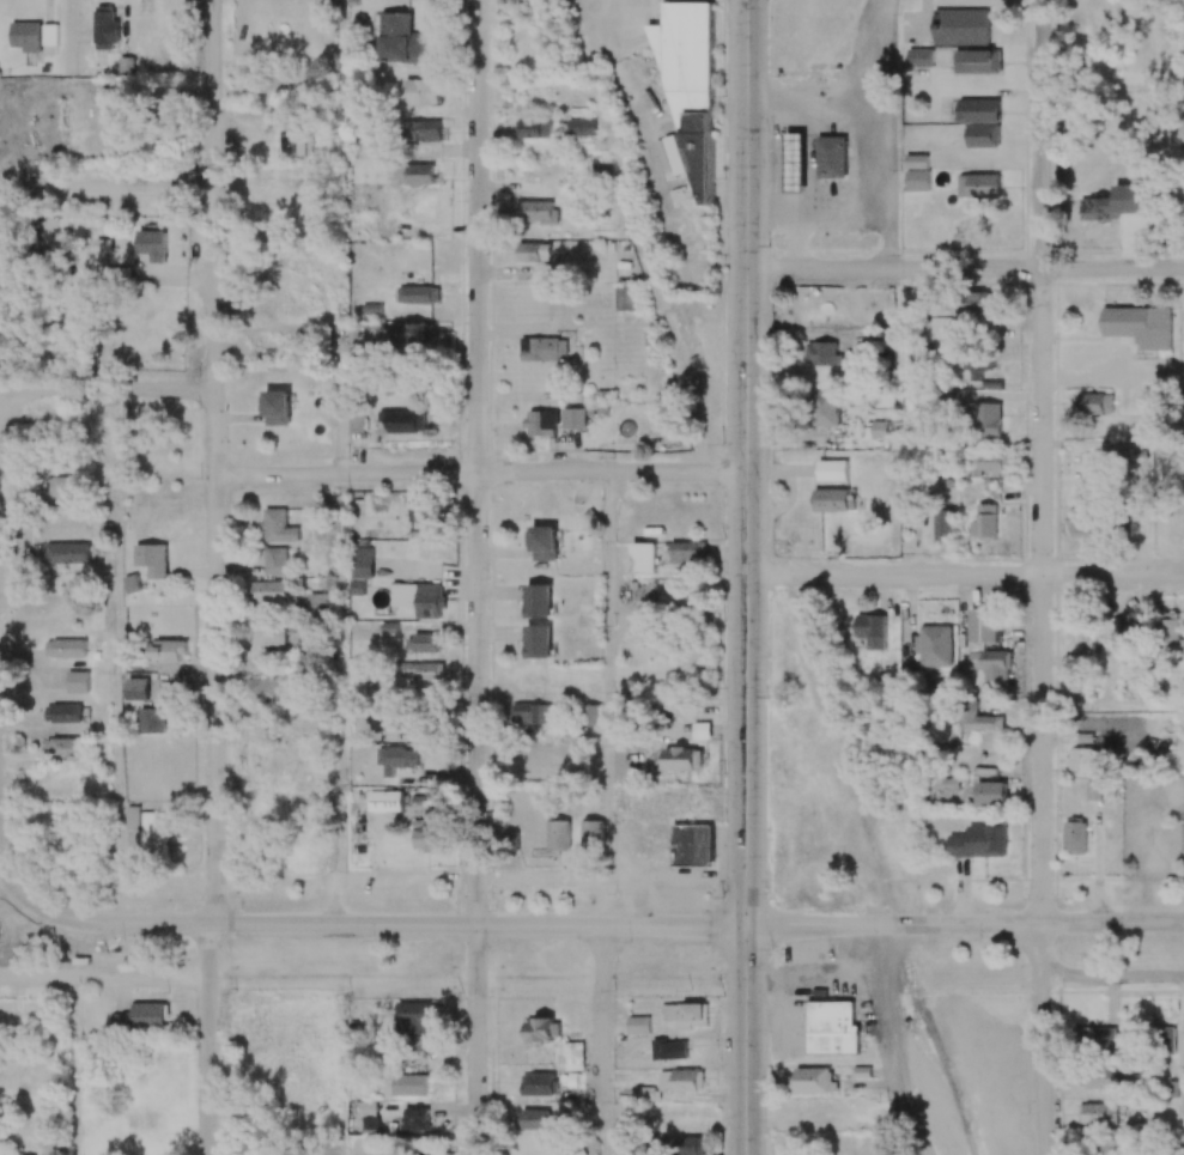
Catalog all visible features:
building: (105, 26)
building: (961, 26)
building: (49, 34)
building: (26, 36)
building: (401, 38)
road: (872, 55)
building: (924, 56)
building: (978, 61)
building: (126, 67)
building: (423, 91)
building: (169, 93)
road: (870, 121)
building: (982, 121)
building: (111, 127)
building: (534, 127)
building: (582, 127)
building: (424, 130)
building: (297, 141)
road: (781, 144)
building: (832, 157)
building: (917, 160)
building: (796, 162)
building: (421, 175)
building: (918, 180)
building: (979, 184)
road: (108, 187)
building: (1115, 203)
building: (535, 212)
road: (844, 218)
road: (771, 224)
building: (152, 242)
building: (532, 251)
building: (104, 257)
road: (965, 268)
building: (419, 294)
building: (625, 297)
building: (827, 302)
building: (977, 304)
building: (372, 308)
building: (1140, 326)
building: (412, 333)
building: (544, 348)
building: (822, 353)
building: (978, 366)
road: (108, 388)
building: (1095, 403)
building: (278, 407)
building: (826, 408)
building: (573, 418)
building: (988, 419)
building: (405, 420)
building: (357, 421)
building: (541, 423)
building: (878, 428)
road: (215, 461)
road: (1042, 461)
road: (478, 462)
building: (989, 462)
building: (832, 470)
road: (480, 473)
building: (1091, 481)
building: (62, 486)
road: (17, 501)
building: (421, 510)
building: (1081, 516)
building: (945, 522)
building: (984, 522)
building: (277, 527)
building: (542, 542)
building: (67, 553)
building: (687, 553)
building: (644, 557)
building: (152, 559)
building: (275, 560)
building: (362, 563)
road: (965, 575)
road: (747, 577)
building: (357, 588)
building: (271, 591)
building: (643, 591)
building: (418, 598)
building: (539, 600)
building: (322, 603)
building: (1136, 621)
building: (870, 630)
building: (1171, 630)
building: (268, 633)
building: (539, 640)
building: (420, 643)
building: (935, 645)
building: (977, 645)
building: (67, 648)
building: (168, 650)
road: (120, 656)
building: (421, 670)
building: (78, 682)
building: (136, 688)
building: (260, 689)
road: (607, 699)
building: (63, 713)
building: (533, 713)
building: (593, 715)
building: (980, 719)
building: (152, 721)
building: (388, 721)
building: (702, 730)
building: (67, 747)
building: (395, 759)
building: (682, 759)
building: (1082, 759)
building: (1094, 790)
building: (991, 792)
building: (132, 816)
building: (431, 831)
building: (153, 832)
building: (558, 834)
building: (593, 834)
building: (1075, 835)
building: (1183, 838)
building: (979, 841)
building: (693, 845)
road: (576, 925)
road: (954, 974)
road: (1113, 974)
road: (104, 975)
road: (807, 975)
road: (478, 977)
building: (685, 1015)
building: (417, 1016)
building: (141, 1017)
building: (638, 1025)
building: (832, 1028)
building: (544, 1029)
road: (208, 1038)
building: (1095, 1038)
road: (1043, 1039)
road: (476, 1040)
road: (606, 1040)
building: (1167, 1040)
road: (885, 1042)
building: (670, 1050)
building: (573, 1056)
road: (74, 1065)
building: (1103, 1078)
building: (813, 1080)
building: (680, 1081)
building: (409, 1084)
building: (538, 1084)
building: (1098, 1113)
building: (369, 1116)
building: (417, 1119)
building: (533, 1119)
building: (682, 1145)

